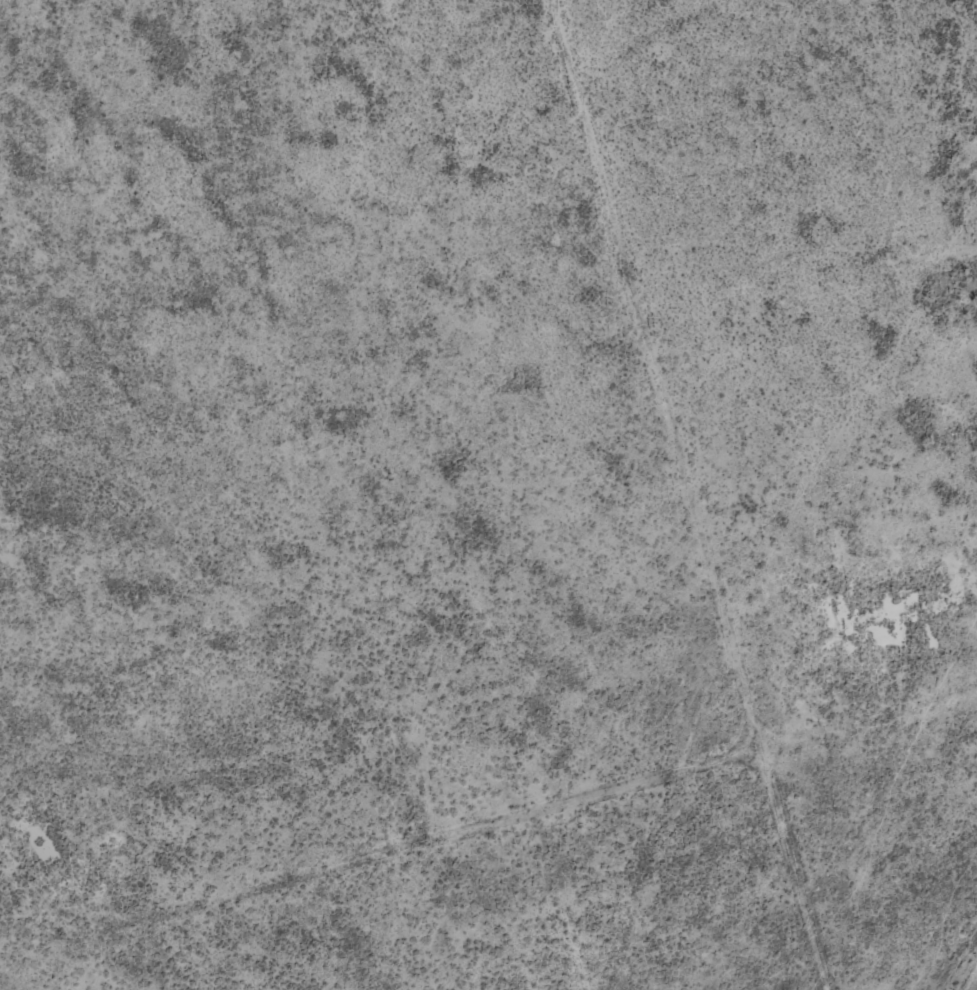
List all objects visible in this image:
road: (640, 493)

